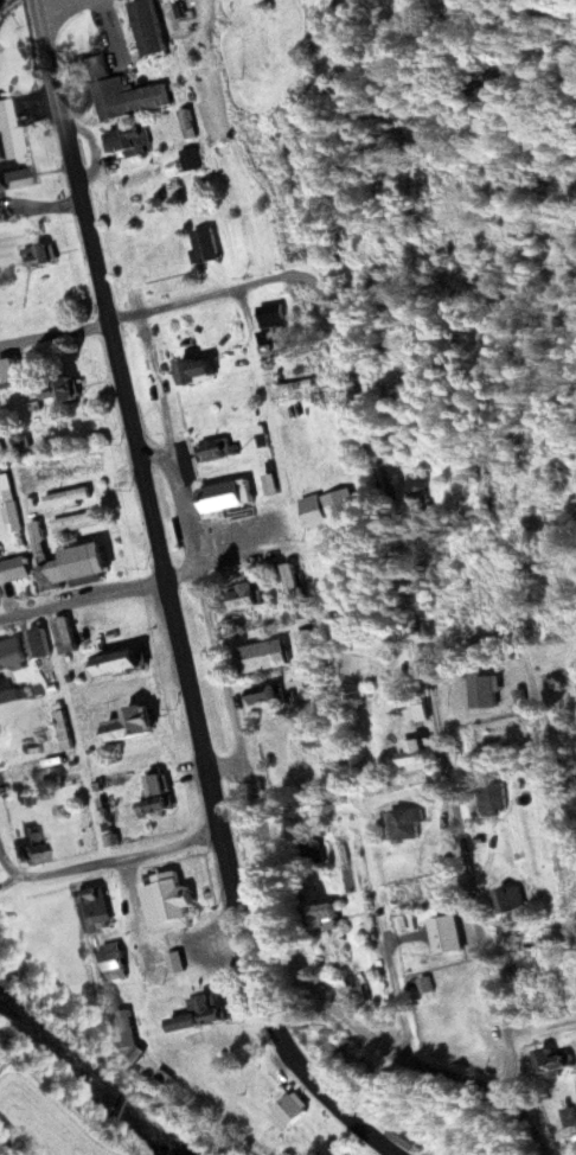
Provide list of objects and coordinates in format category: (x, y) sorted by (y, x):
road: (62, 9)
building: (100, 65)
building: (128, 98)
building: (9, 132)
building: (128, 141)
building: (15, 179)
building: (205, 245)
building: (38, 255)
building: (405, 300)
building: (271, 317)
building: (194, 371)
building: (8, 375)
building: (58, 391)
road: (124, 410)
building: (216, 451)
road: (152, 452)
building: (345, 452)
building: (68, 497)
building: (224, 498)
road: (385, 498)
building: (339, 504)
building: (12, 510)
building: (73, 523)
building: (37, 532)
building: (77, 564)
building: (14, 569)
road: (179, 573)
building: (292, 579)
building: (335, 589)
building: (242, 595)
road: (79, 602)
building: (65, 634)
building: (308, 640)
building: (38, 644)
building: (11, 653)
building: (263, 657)
building: (115, 664)
building: (5, 691)
building: (487, 693)
building: (265, 696)
building: (130, 726)
building: (63, 730)
building: (418, 755)
road: (526, 761)
road: (223, 765)
building: (17, 774)
building: (156, 786)
building: (494, 798)
building: (154, 809)
road: (261, 821)
building: (405, 824)
building: (32, 859)
road: (103, 863)
building: (510, 901)
building: (166, 906)
building: (97, 911)
building: (321, 919)
building: (449, 934)
road: (390, 952)
building: (113, 962)
building: (153, 964)
building: (177, 965)
road: (269, 1008)
building: (200, 1015)
building: (124, 1036)
building: (191, 1041)
building: (556, 1060)
river: (102, 1099)
building: (286, 1112)
building: (401, 1137)

